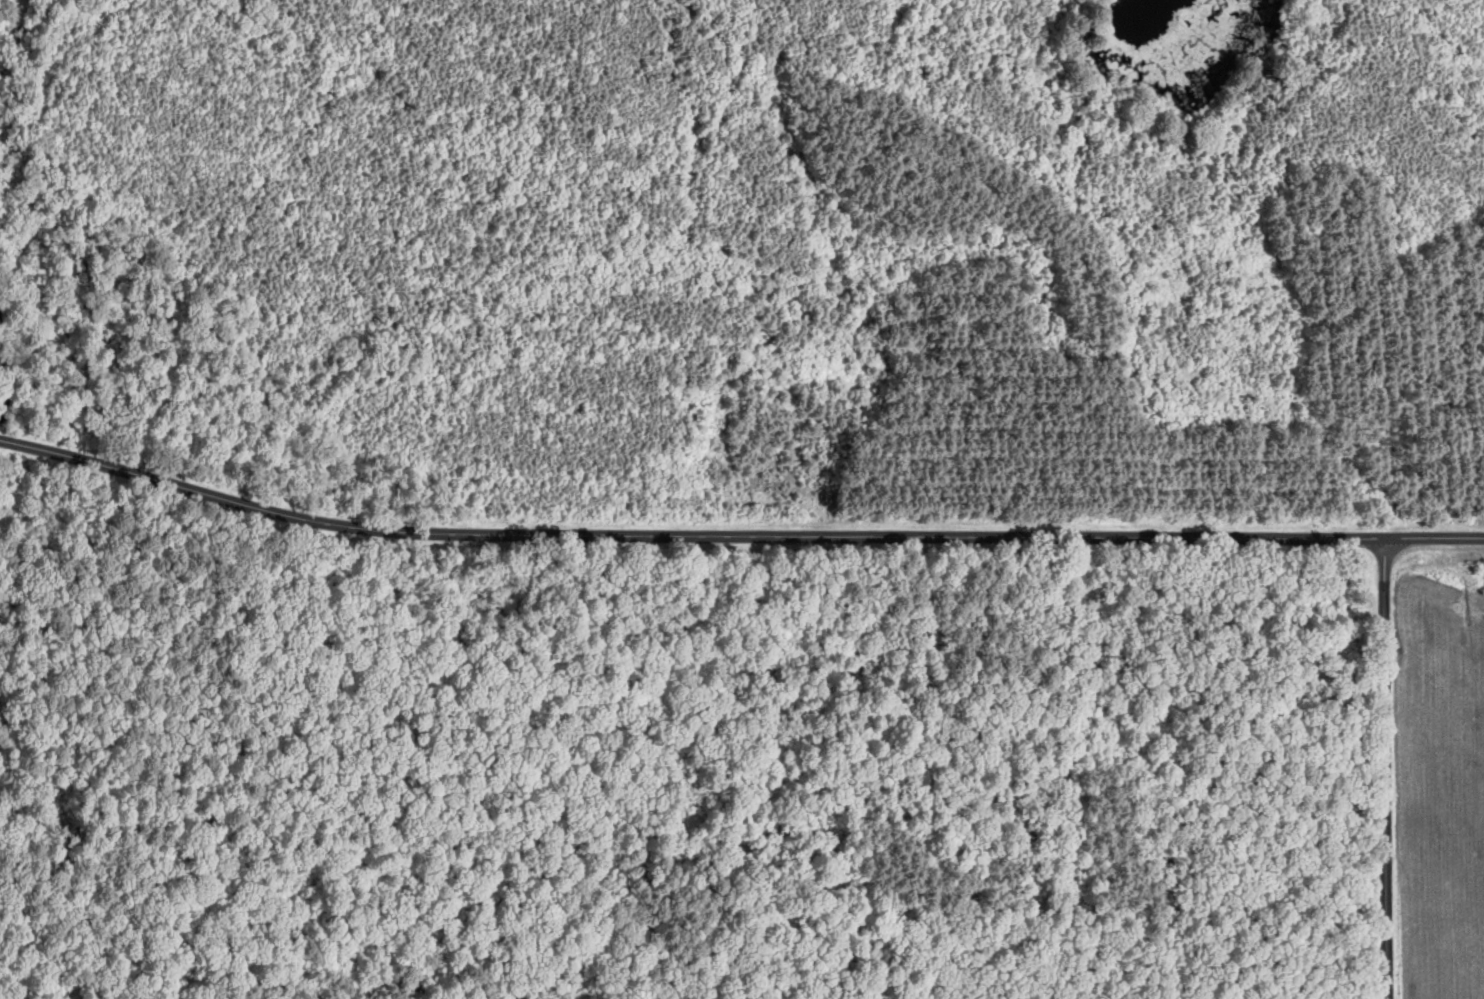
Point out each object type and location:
building: (1181, 373)
road: (736, 533)
road: (1387, 769)

